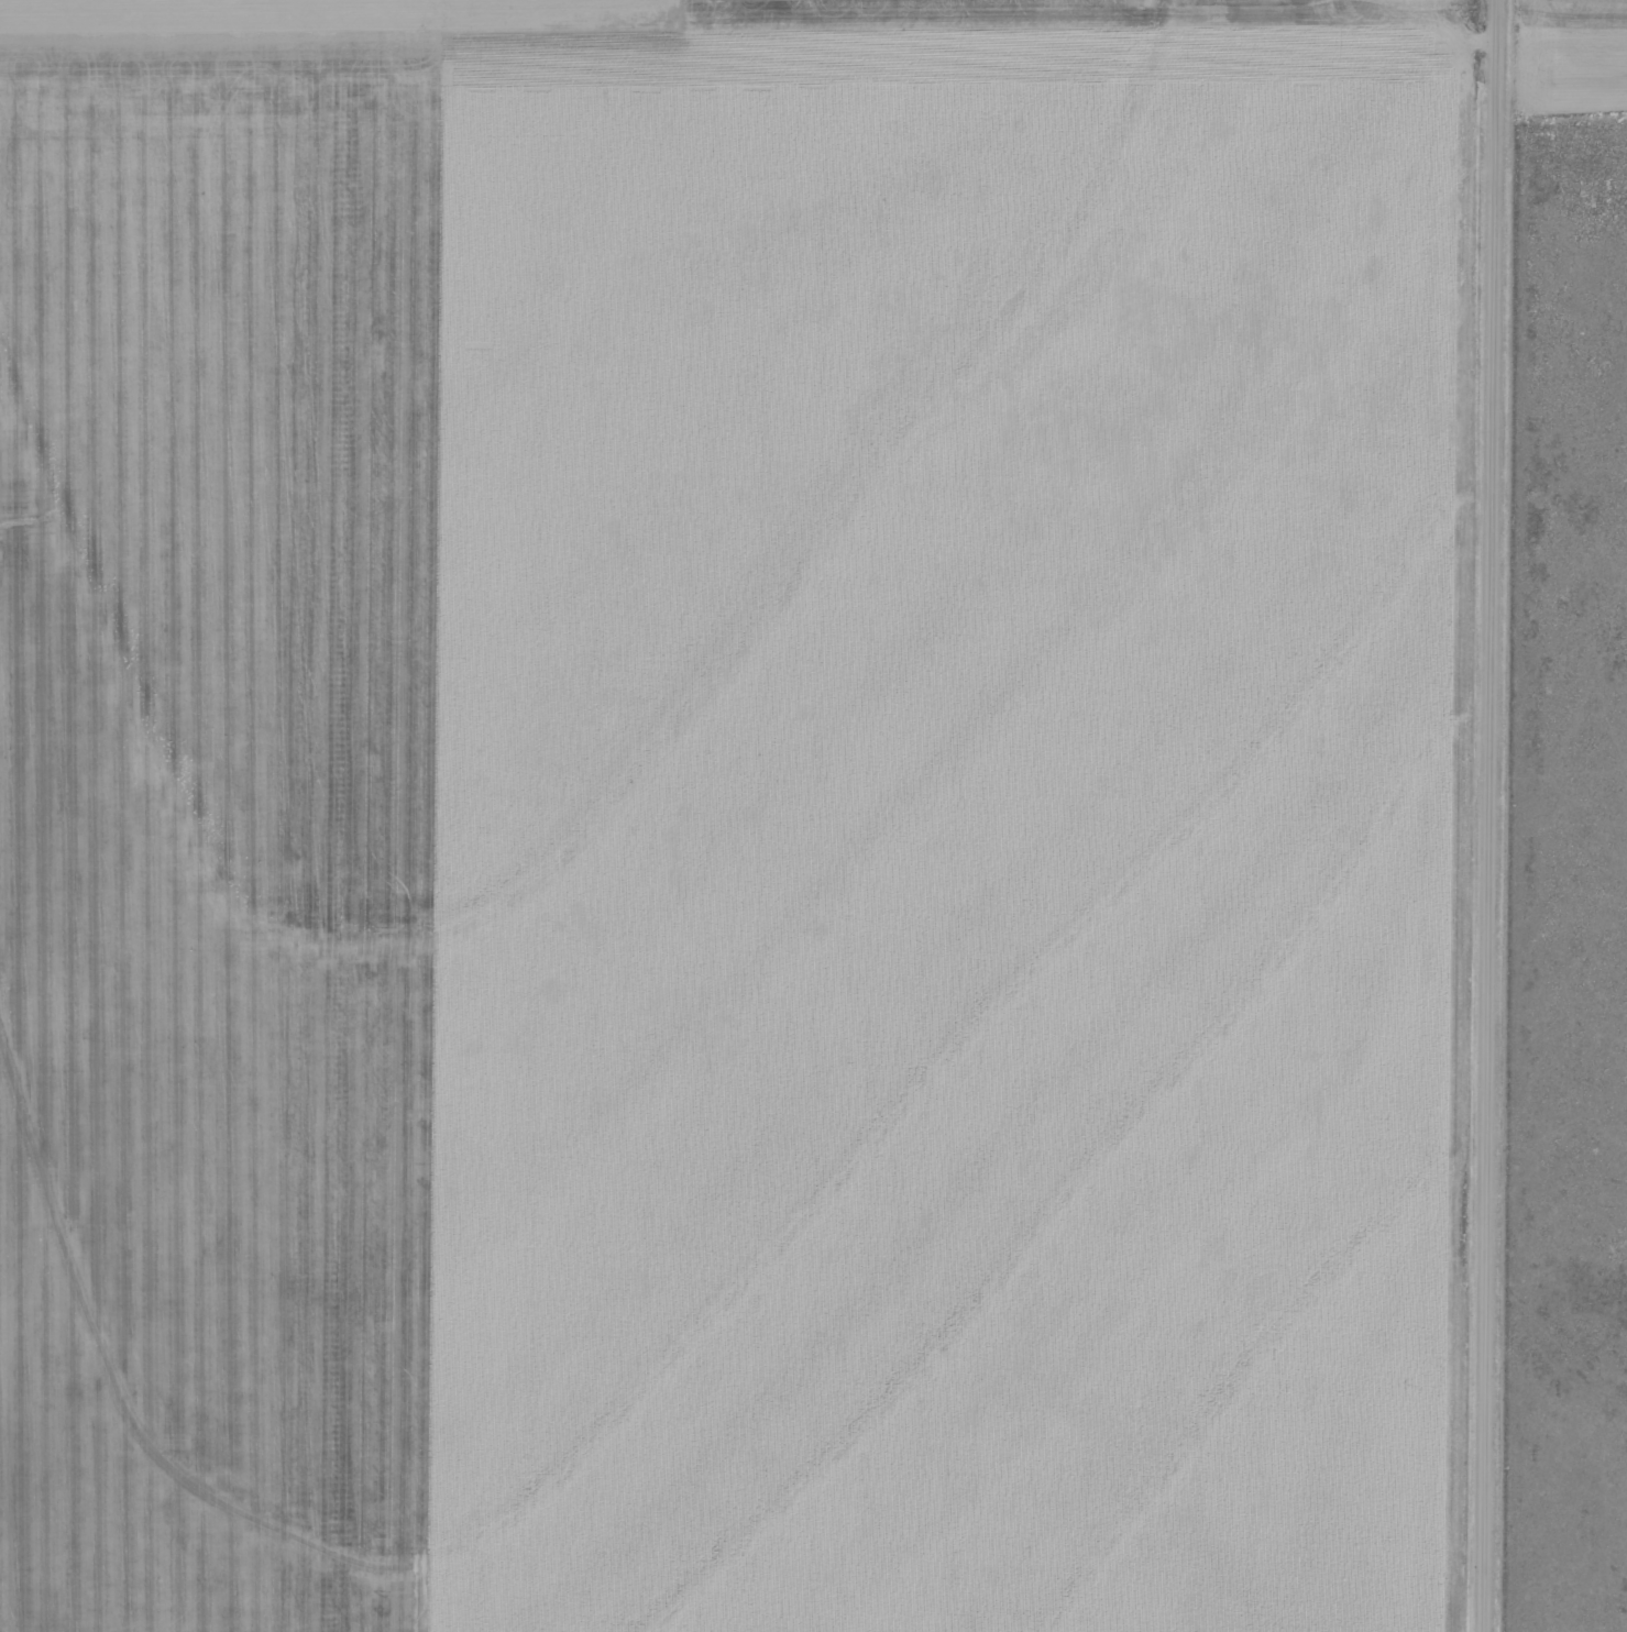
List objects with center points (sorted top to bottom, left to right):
road: (1495, 816)

